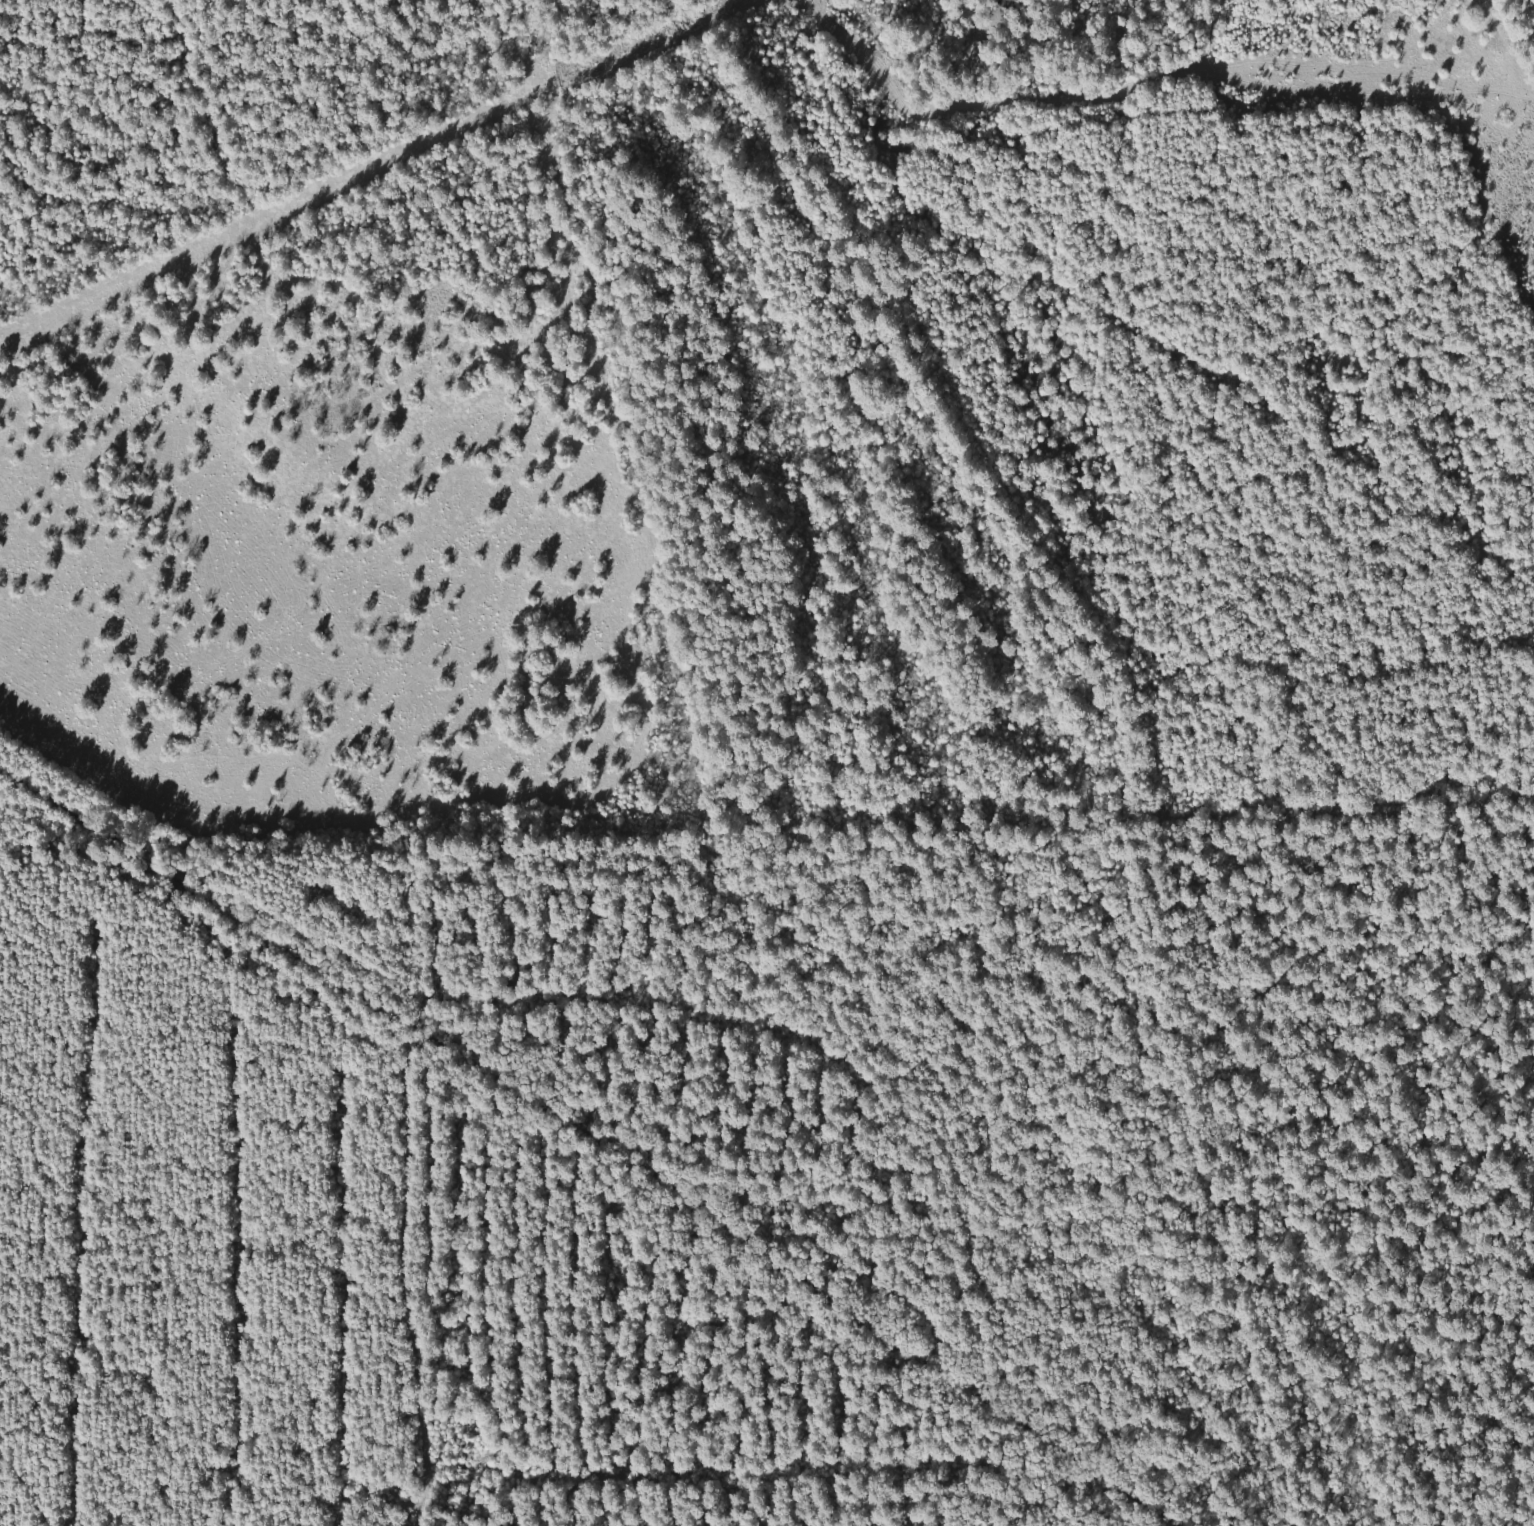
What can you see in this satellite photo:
road: (1527, 12)

